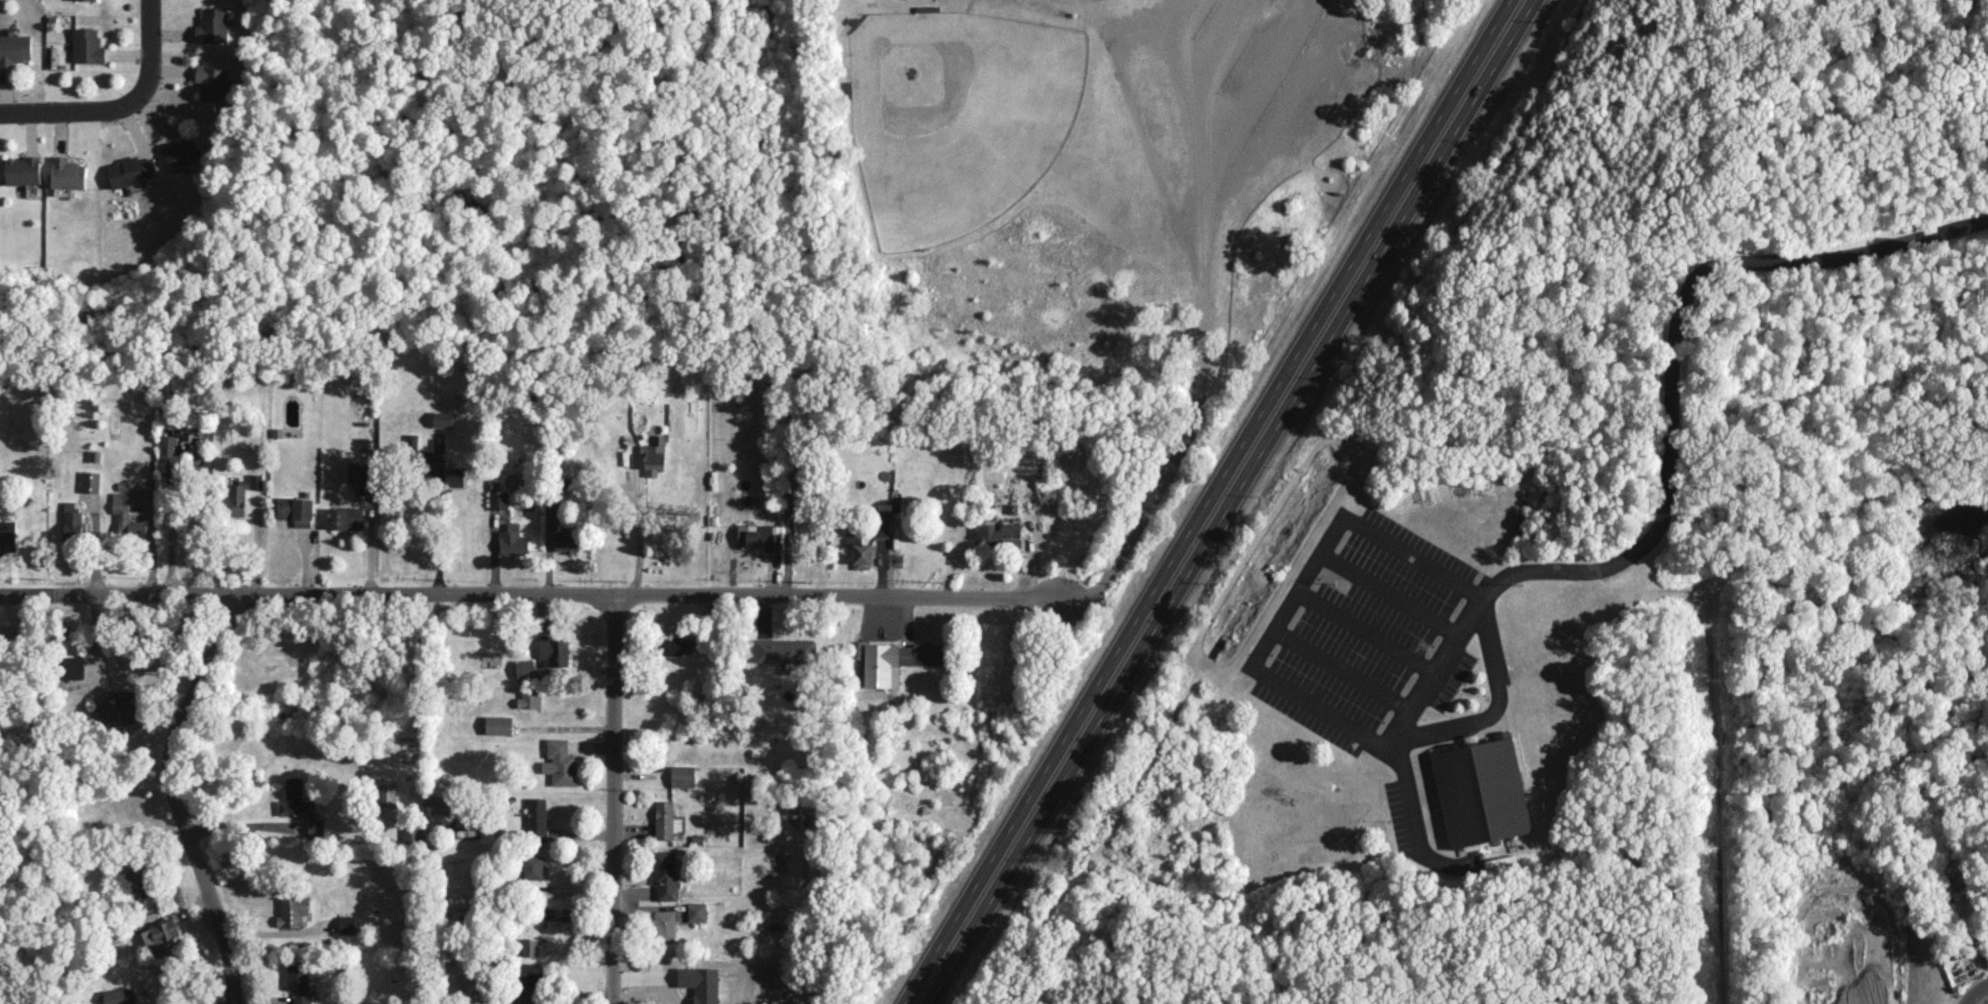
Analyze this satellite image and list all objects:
park: (1077, 1)
building: (213, 26)
building: (88, 46)
building: (14, 49)
road: (150, 52)
road: (1187, 78)
building: (212, 82)
road: (70, 114)
road: (1136, 117)
park: (959, 120)
building: (183, 152)
building: (23, 170)
building: (130, 171)
building: (67, 173)
road: (1203, 312)
building: (443, 419)
building: (412, 441)
building: (654, 456)
building: (170, 459)
building: (454, 476)
building: (90, 481)
building: (240, 494)
building: (499, 499)
road: (1218, 502)
building: (885, 506)
building: (296, 510)
building: (345, 517)
building: (127, 518)
road: (174, 521)
building: (72, 522)
road: (433, 524)
building: (882, 526)
road: (1660, 529)
building: (1002, 533)
building: (8, 535)
road: (639, 535)
building: (758, 535)
building: (513, 540)
building: (567, 540)
building: (862, 555)
road: (531, 594)
road: (1390, 594)
road: (1297, 595)
parking lot: (1358, 628)
road: (1366, 633)
building: (677, 645)
building: (784, 650)
building: (554, 652)
building: (922, 654)
building: (881, 664)
building: (72, 667)
building: (525, 668)
road: (1342, 673)
building: (530, 698)
road: (1498, 706)
building: (121, 709)
building: (498, 724)
building: (561, 762)
building: (682, 775)
building: (387, 795)
road: (173, 796)
building: (1482, 796)
road: (613, 799)
building: (441, 804)
building: (300, 806)
building: (537, 818)
building: (666, 820)
road: (239, 827)
building: (412, 834)
building: (533, 866)
building: (665, 875)
building: (139, 877)
building: (292, 910)
building: (697, 911)
building: (347, 923)
building: (662, 926)
road: (278, 932)
building: (159, 935)
building: (530, 947)
building: (529, 974)
building: (299, 982)
building: (119, 996)
road: (1979, 997)
building: (525, 998)
road: (214, 1002)

